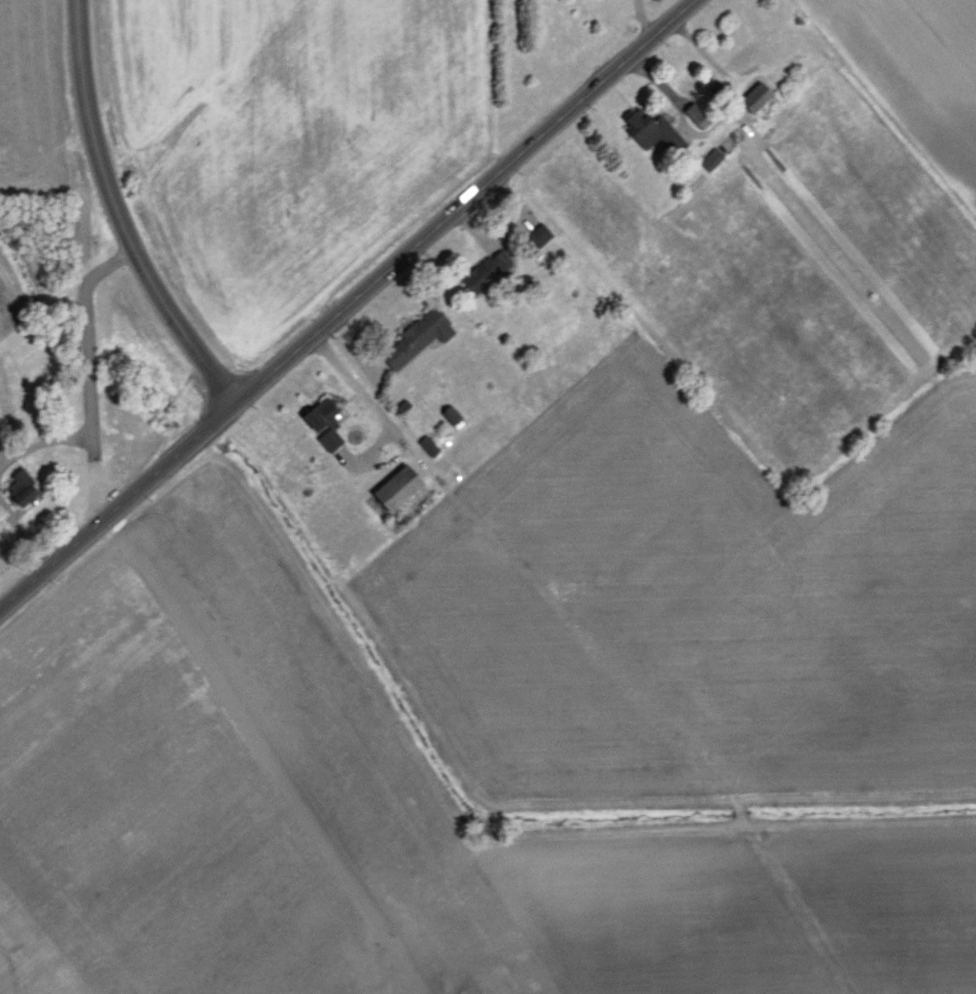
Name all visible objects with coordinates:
road: (644, 18)
building: (754, 96)
building: (693, 111)
building: (650, 129)
building: (711, 157)
crop: (555, 168)
road: (119, 213)
building: (536, 237)
building: (485, 270)
road: (348, 304)
building: (416, 336)
road: (364, 396)
building: (323, 421)
building: (427, 444)
building: (20, 486)
building: (395, 487)

